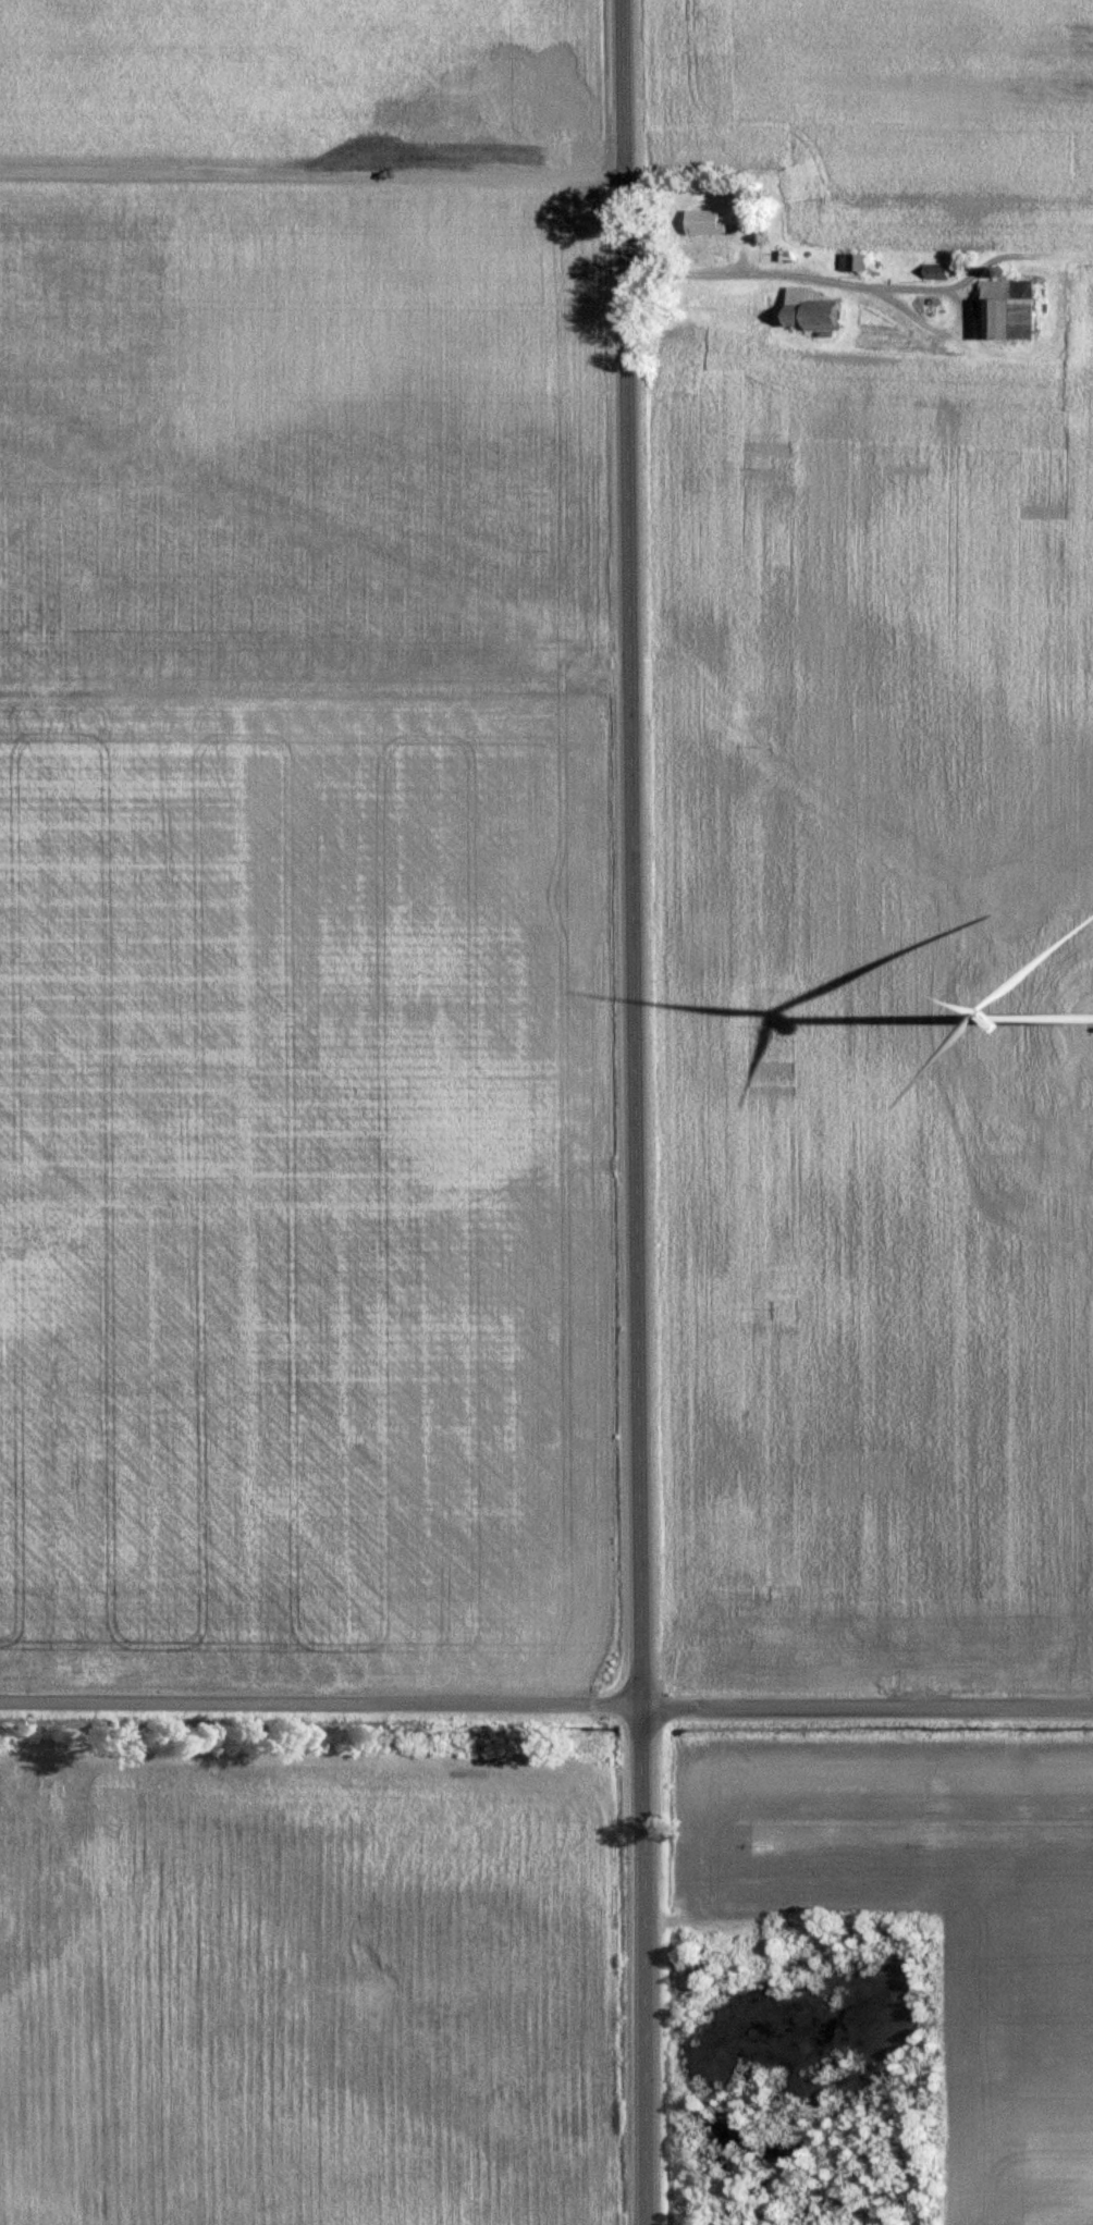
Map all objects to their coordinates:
building: (703, 222)
building: (853, 262)
road: (859, 284)
building: (1006, 309)
building: (808, 311)
road: (635, 1111)
road: (545, 1708)

